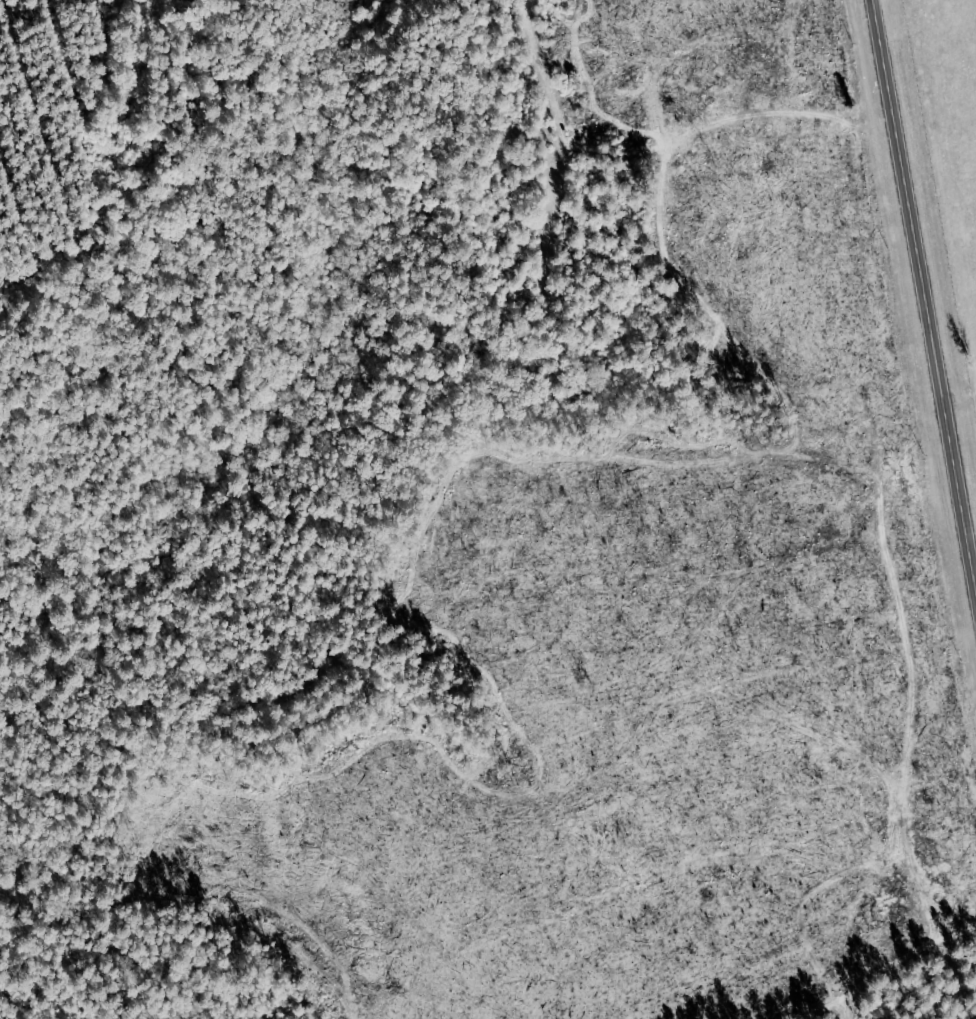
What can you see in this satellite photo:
road: (924, 292)
road: (960, 403)

